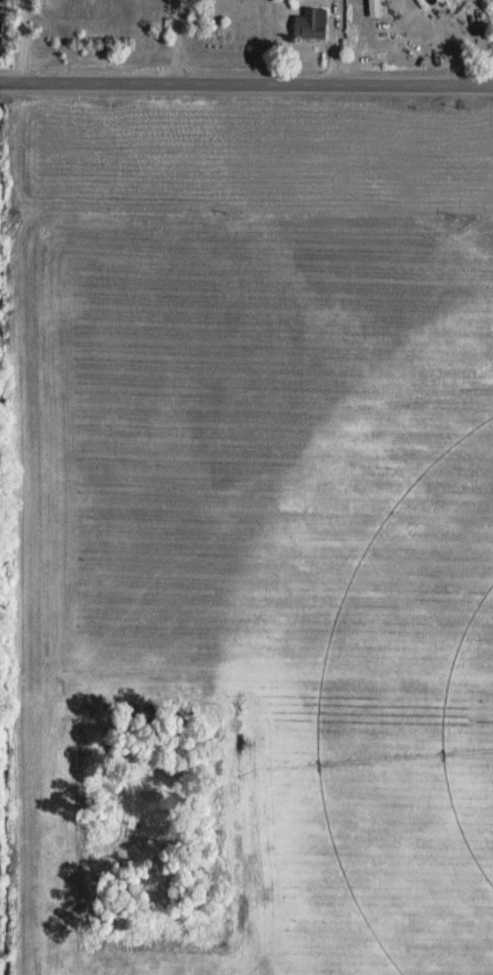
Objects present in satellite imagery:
building: (311, 23)
road: (25, 40)
road: (246, 81)

